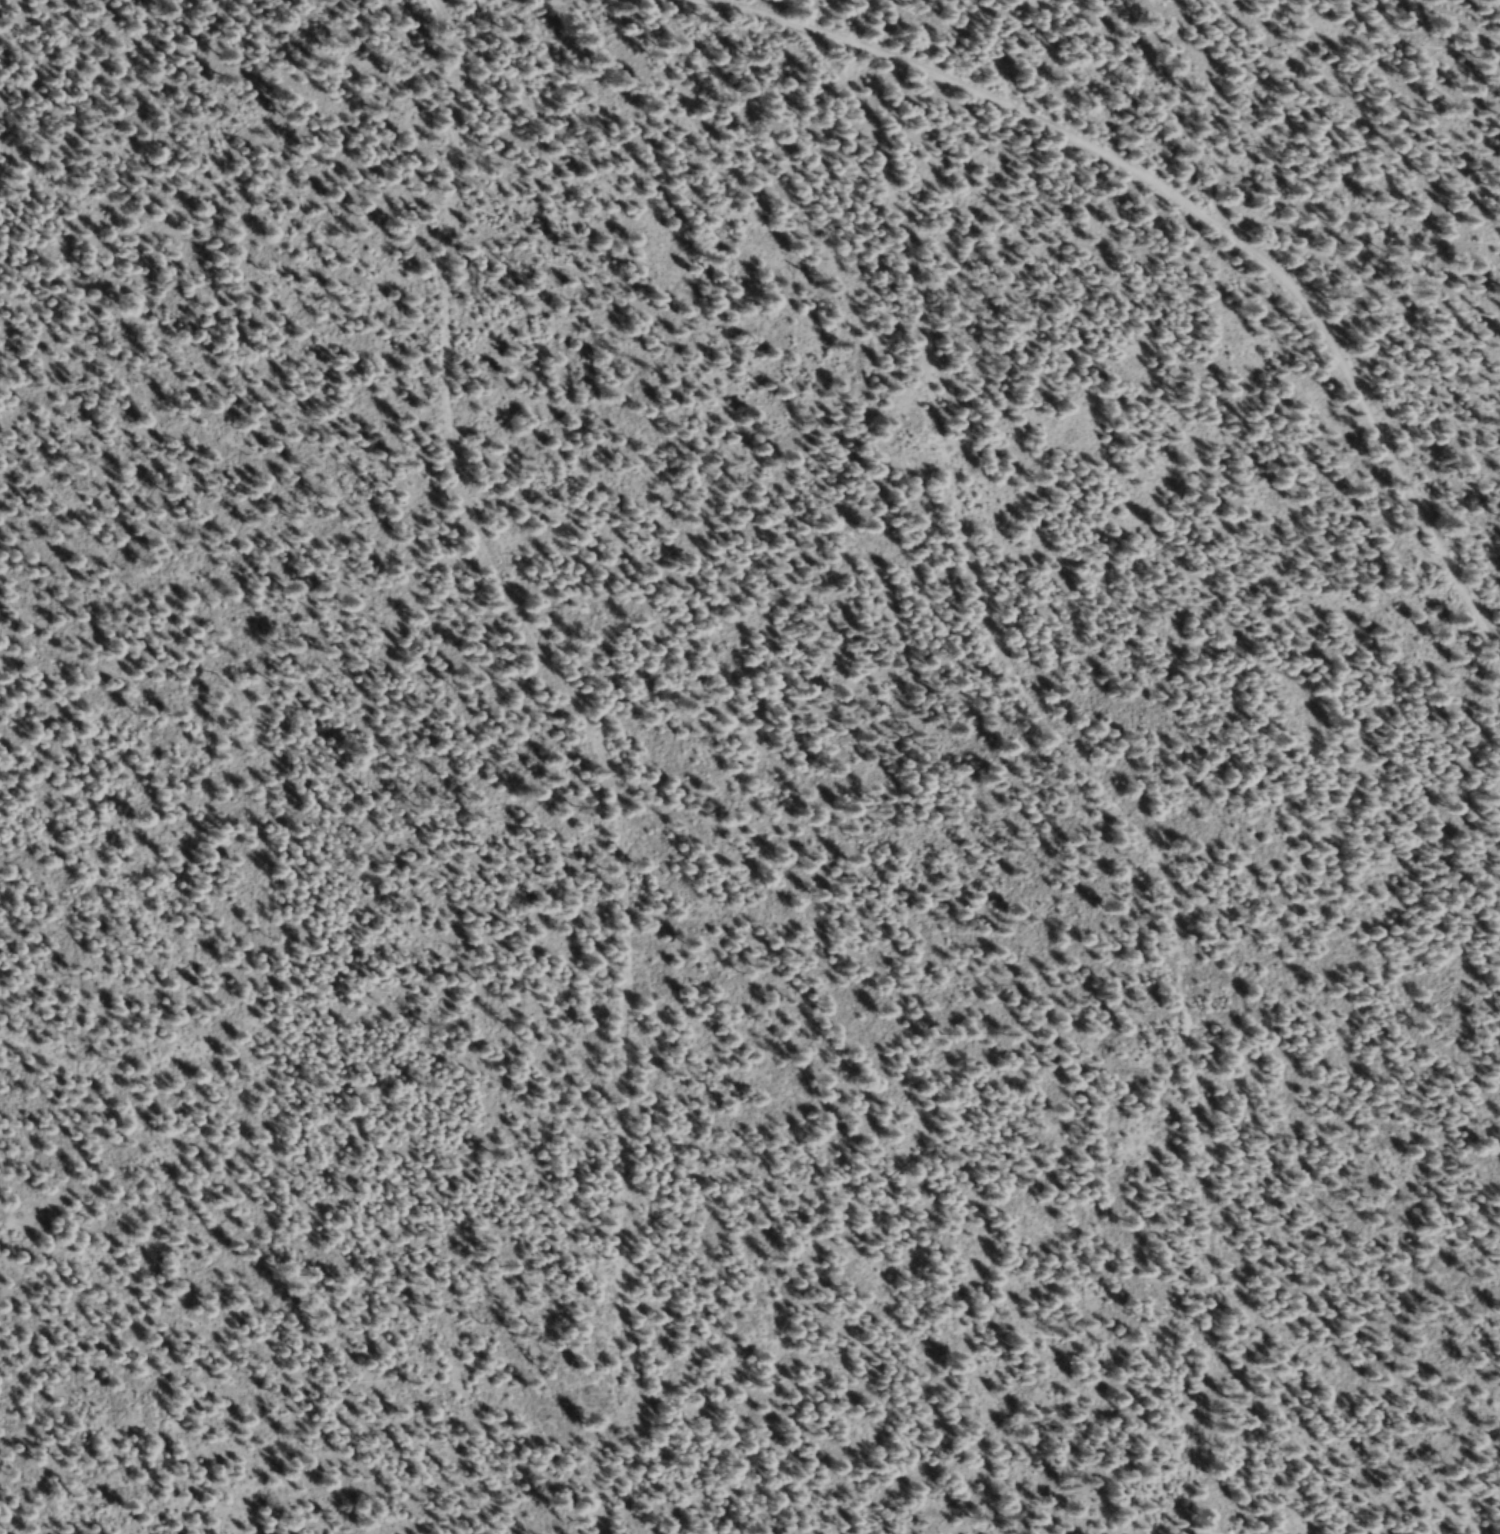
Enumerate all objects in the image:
road: (1135, 151)
road: (1406, 249)
road: (204, 985)
road: (90, 1058)
road: (190, 1362)
road: (165, 1527)

